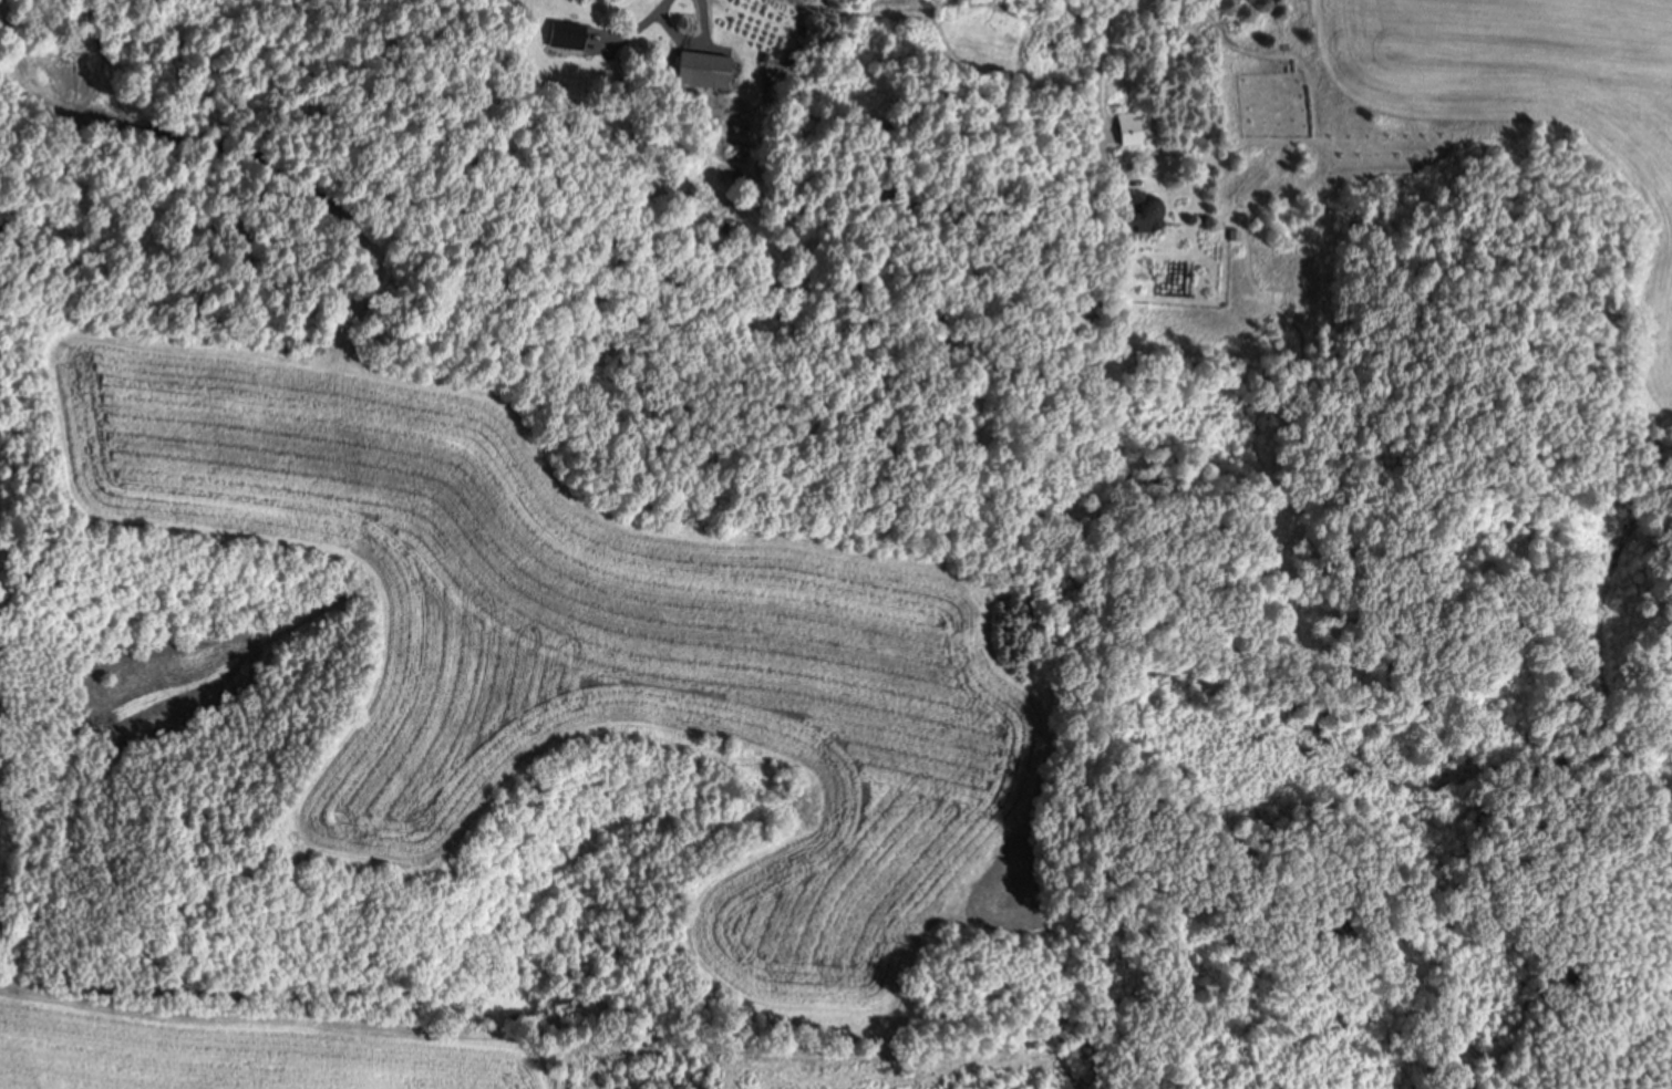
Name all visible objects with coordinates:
building: (566, 34)
road: (1093, 46)
building: (703, 69)
building: (1127, 131)
building: (1145, 214)

